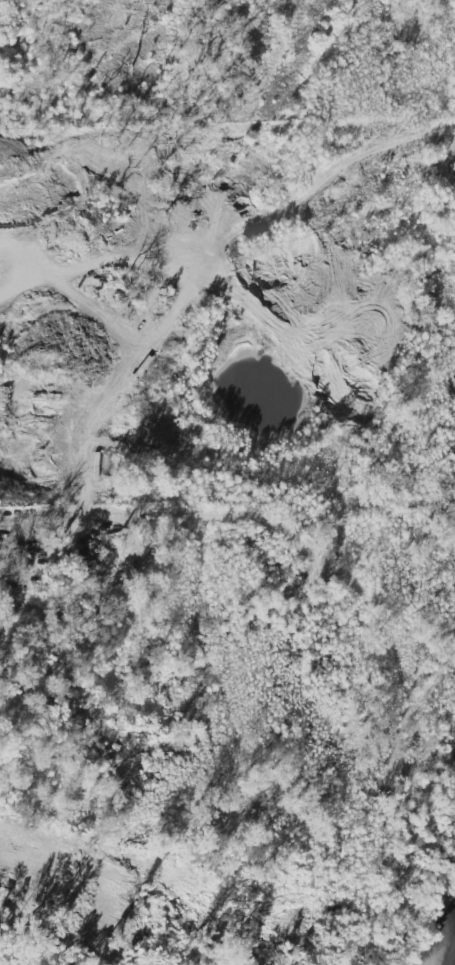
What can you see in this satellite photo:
road: (26, 281)

